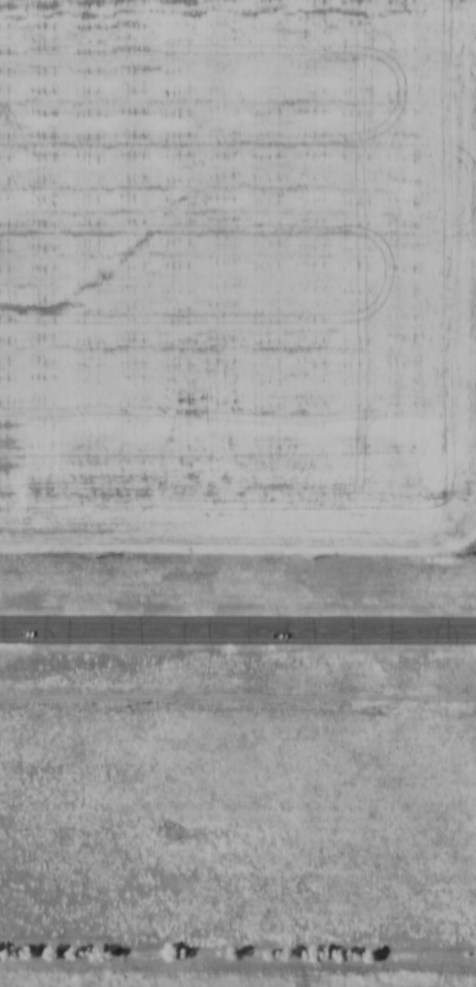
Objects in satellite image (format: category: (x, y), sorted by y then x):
road: (238, 632)

